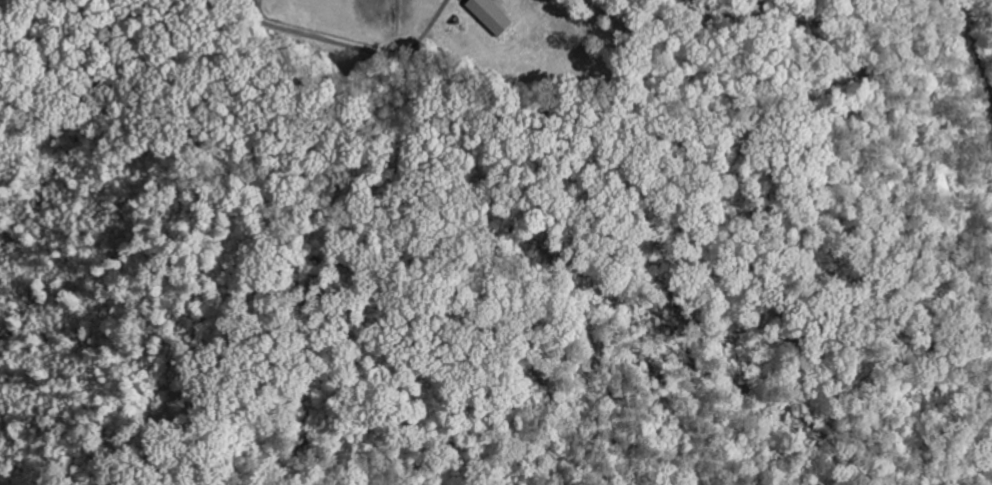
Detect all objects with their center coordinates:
road: (5, 8)
park: (7, 9)
building: (492, 17)
park: (444, 34)
road: (357, 48)
road: (977, 55)

